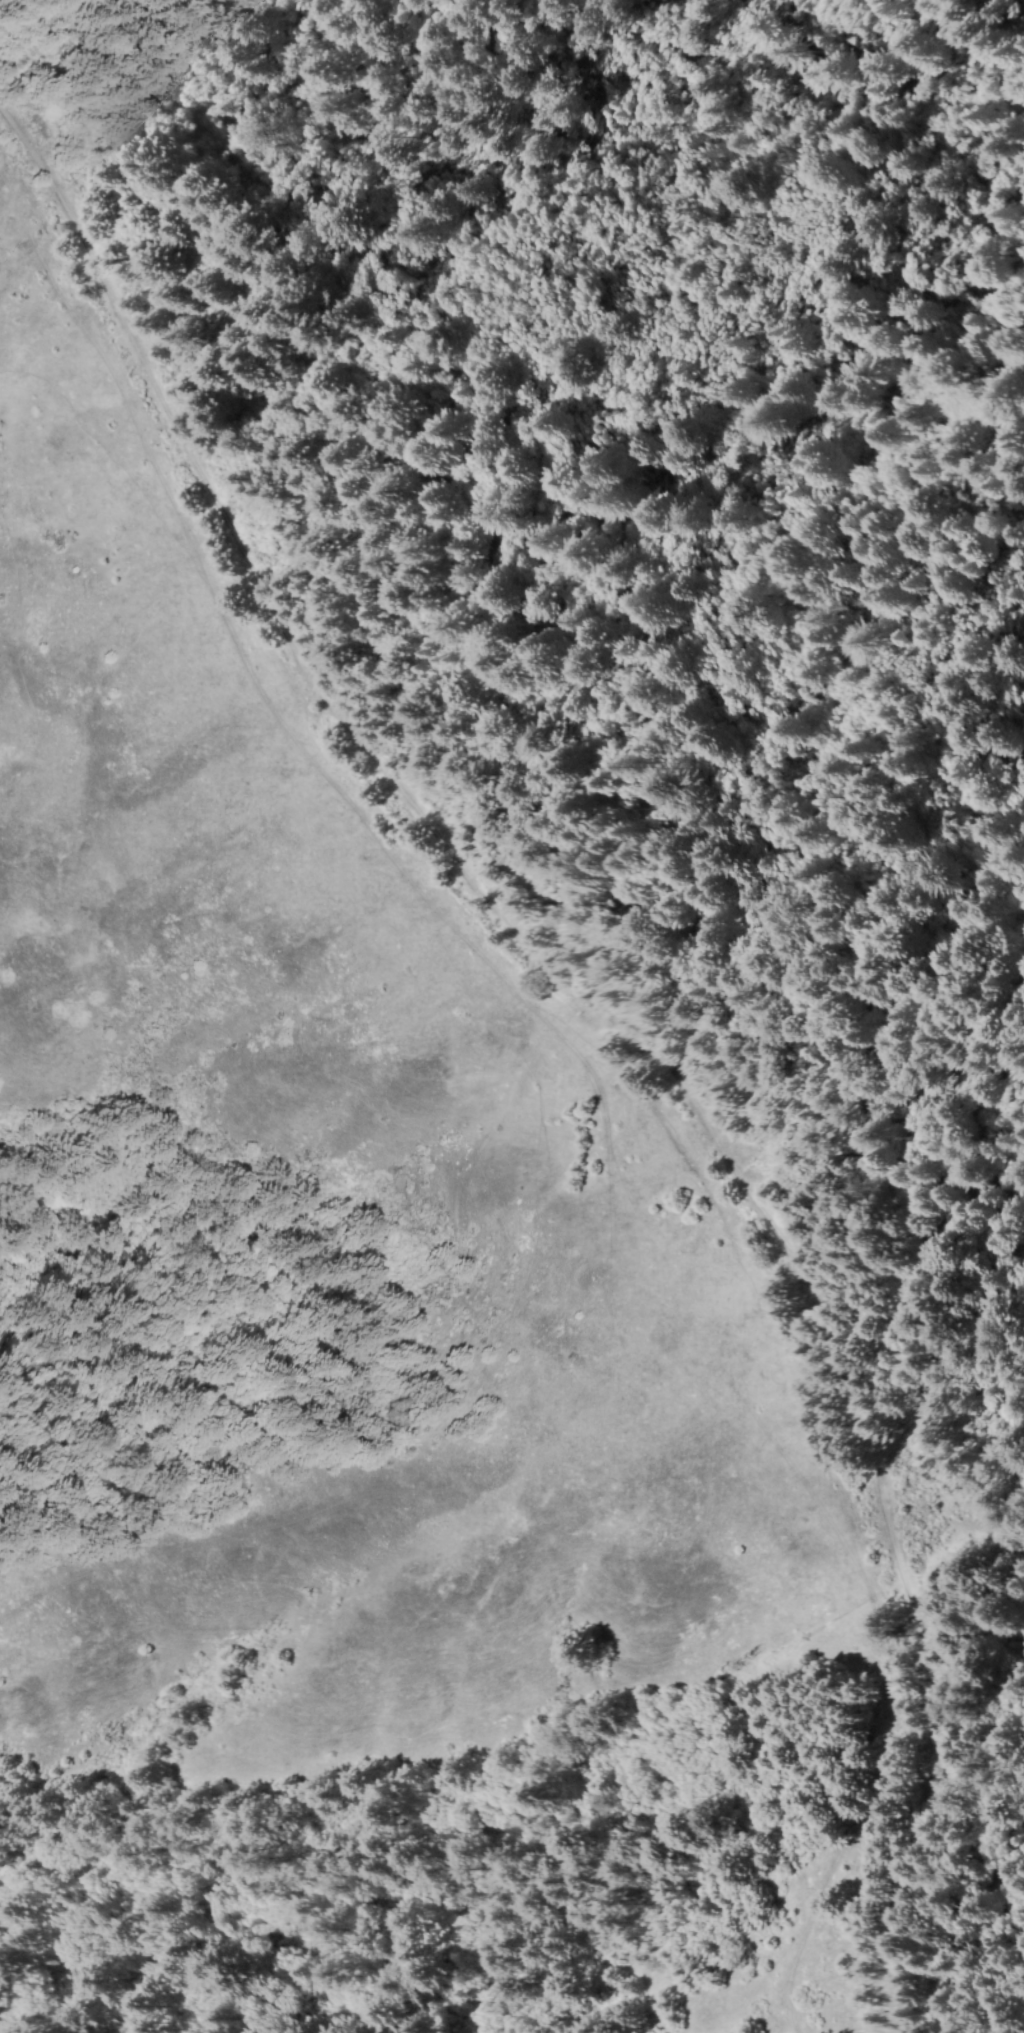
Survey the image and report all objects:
road: (605, 1024)
road: (527, 1442)
road: (844, 1534)
road: (779, 2003)

